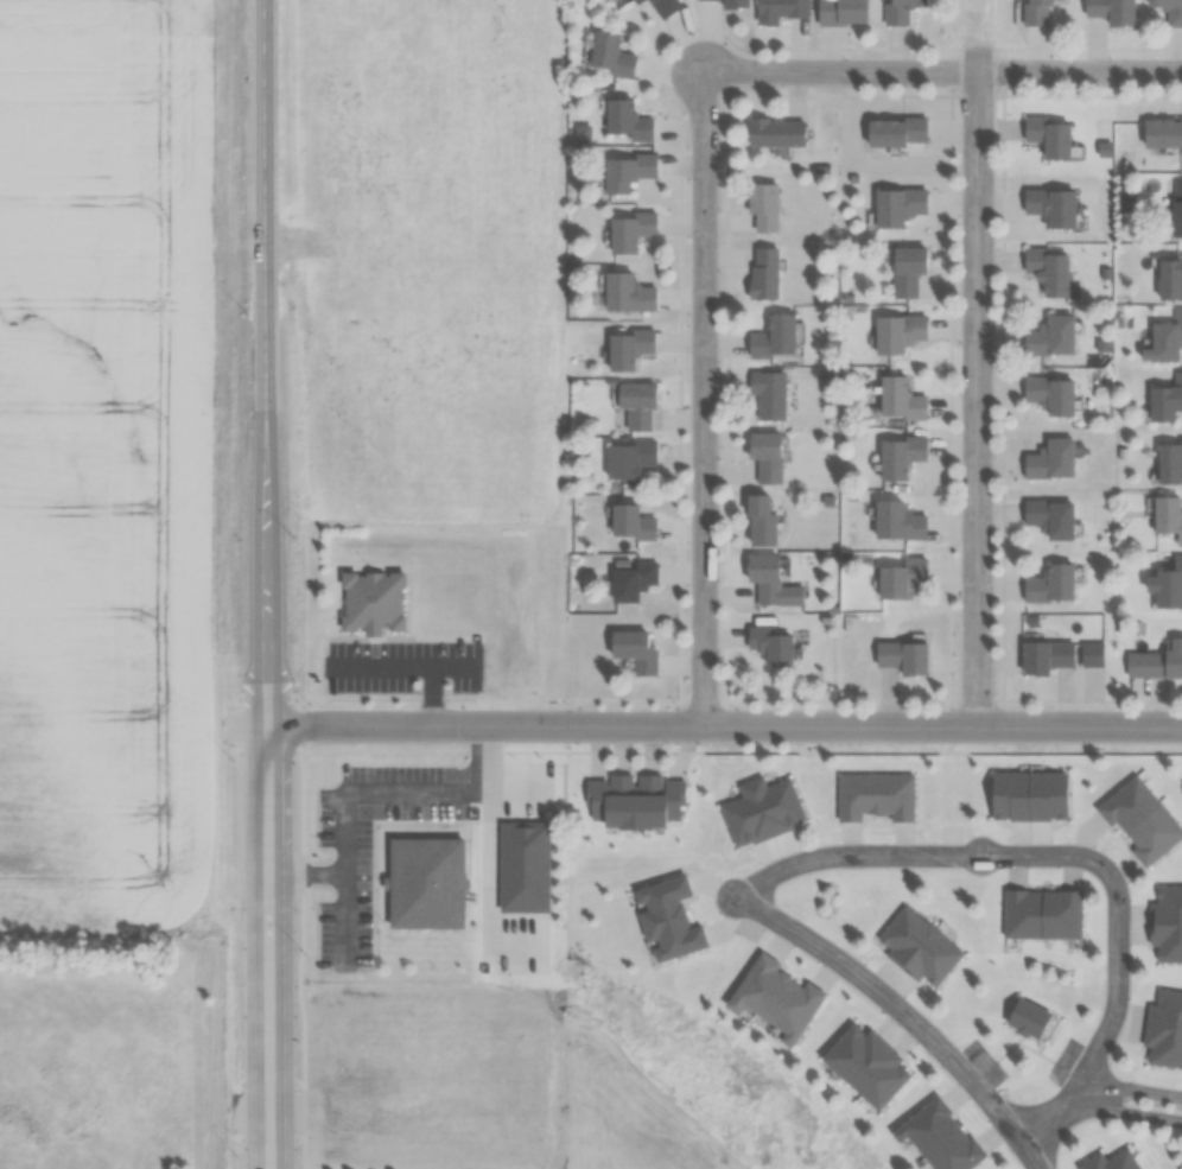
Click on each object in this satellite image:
building: (634, 1)
building: (731, 4)
building: (661, 6)
building: (776, 11)
building: (896, 11)
building: (1108, 11)
building: (1168, 11)
building: (838, 12)
building: (1034, 12)
building: (606, 56)
road: (942, 70)
building: (624, 121)
building: (892, 132)
building: (776, 133)
building: (1161, 133)
building: (1047, 136)
road: (265, 163)
building: (624, 172)
building: (1049, 205)
building: (760, 207)
building: (896, 207)
building: (1176, 208)
building: (628, 230)
building: (905, 269)
building: (1046, 269)
building: (762, 273)
building: (1168, 279)
building: (624, 293)
building: (897, 333)
building: (1049, 336)
building: (771, 337)
building: (1162, 339)
building: (625, 347)
building: (768, 394)
building: (1049, 394)
road: (704, 398)
road: (978, 398)
building: (898, 399)
building: (1163, 399)
building: (635, 405)
building: (765, 456)
building: (898, 457)
building: (625, 458)
building: (1049, 459)
building: (1168, 460)
building: (1049, 517)
building: (1165, 517)
building: (758, 521)
building: (897, 521)
building: (629, 522)
building: (901, 577)
building: (631, 580)
building: (770, 582)
building: (1049, 584)
building: (1167, 585)
building: (371, 602)
building: (769, 646)
building: (633, 650)
building: (1044, 656)
building: (903, 657)
building: (1152, 663)
road: (725, 725)
road: (268, 746)
building: (1027, 795)
building: (634, 801)
building: (761, 811)
building: (1139, 820)
road: (1072, 856)
building: (1040, 914)
building: (666, 919)
building: (1165, 923)
building: (916, 947)
building: (773, 997)
road: (901, 1011)
building: (1024, 1018)
building: (1163, 1029)
building: (863, 1065)
road: (1130, 1097)
building: (938, 1137)
building: (1111, 1161)

